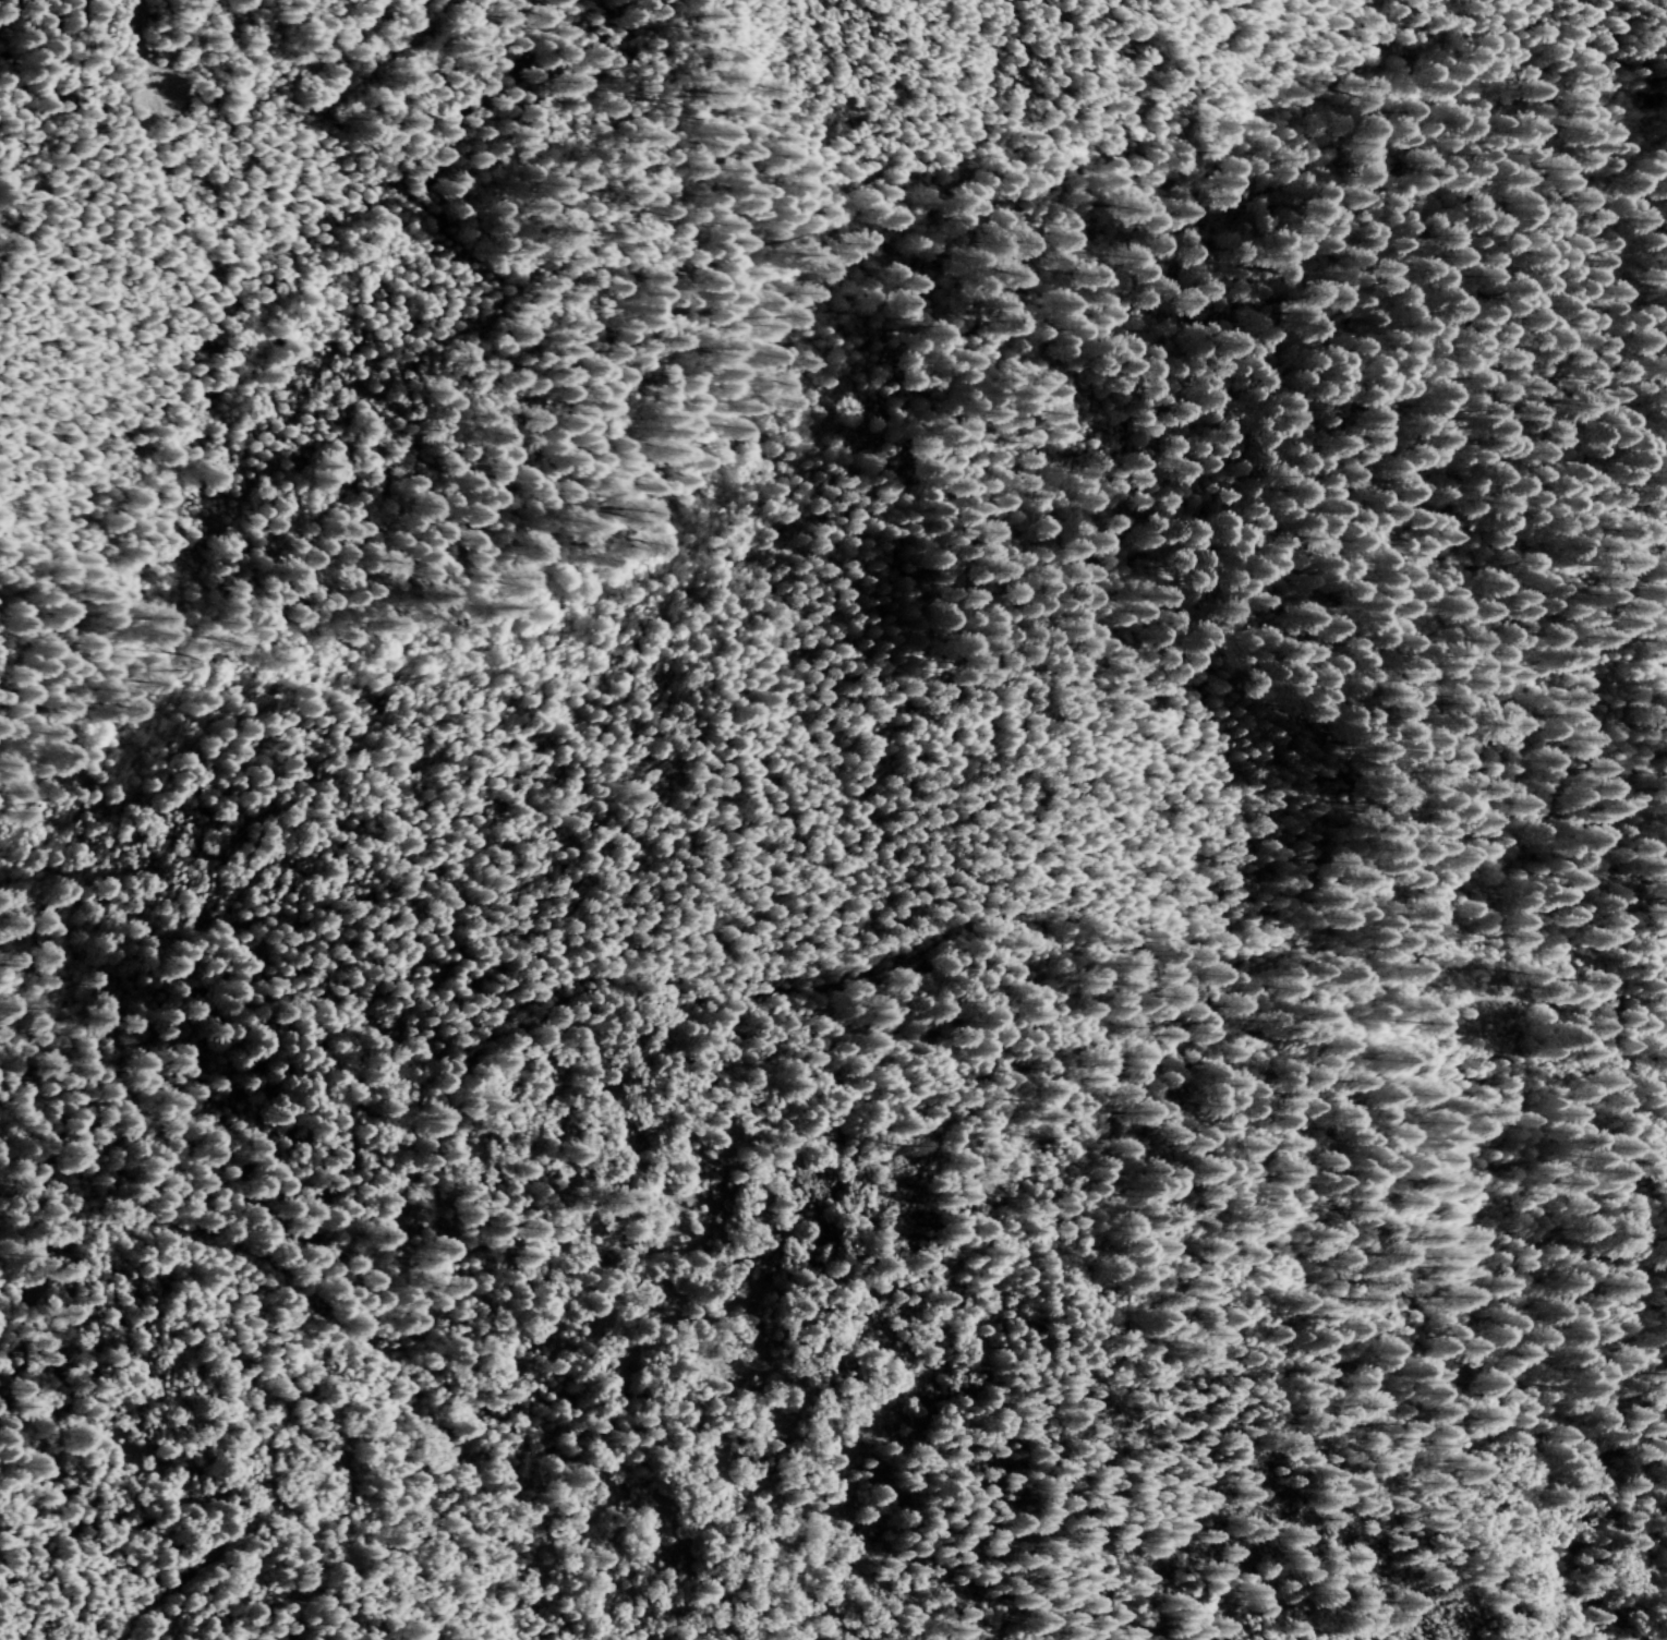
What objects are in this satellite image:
road: (155, 34)
park: (310, 515)
park: (399, 583)
road: (706, 969)

